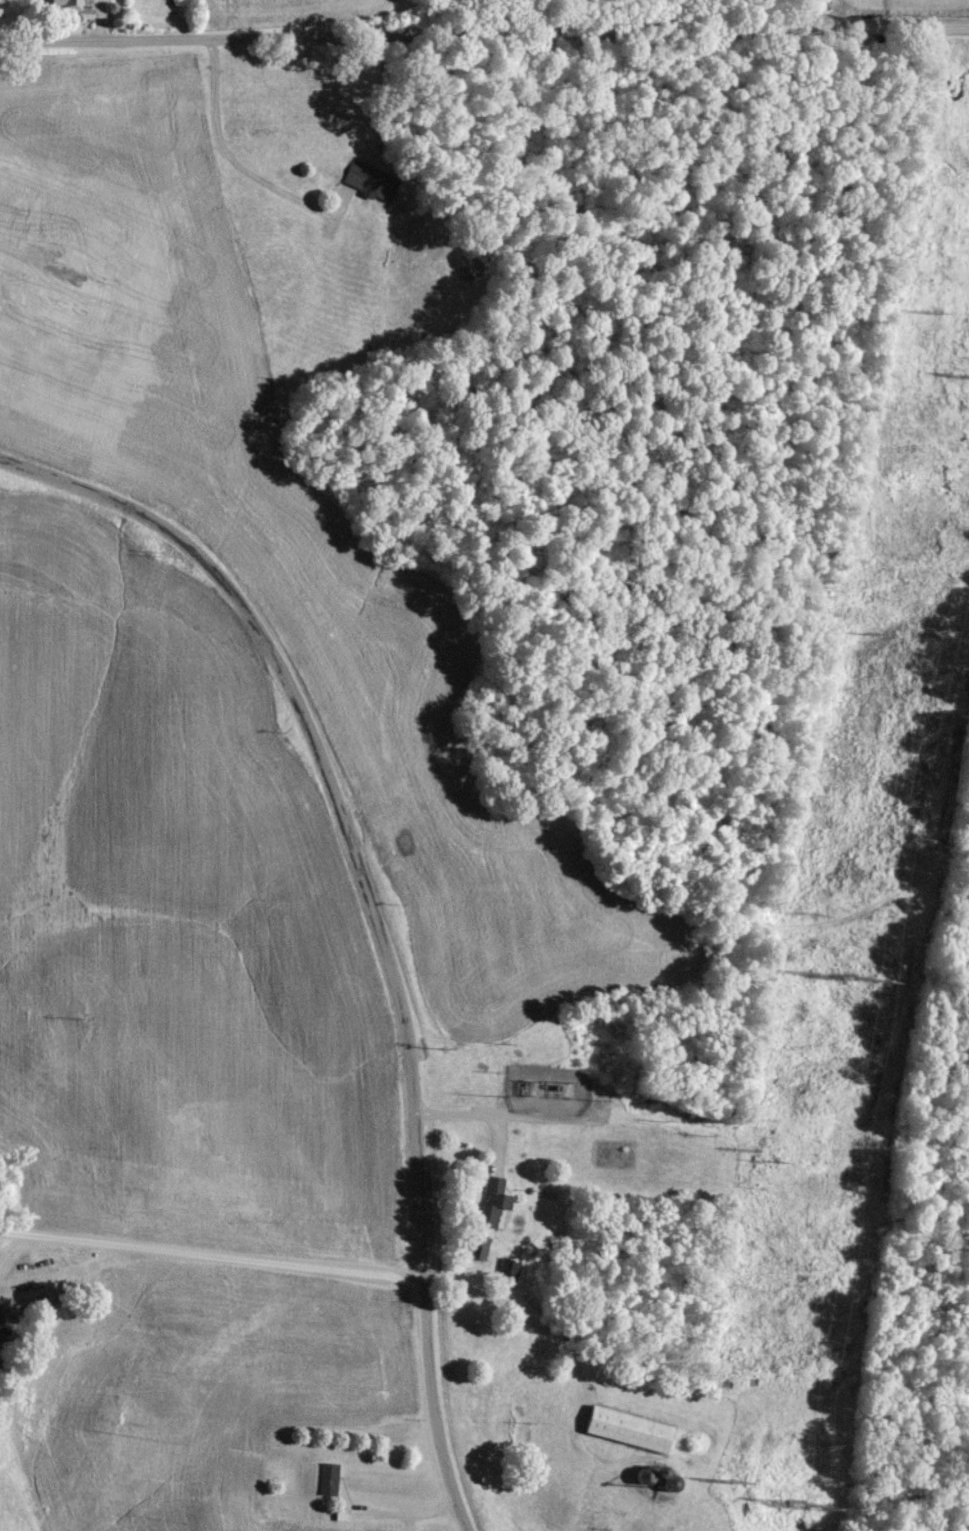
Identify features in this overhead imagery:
building: (66, 7)
road: (484, 38)
road: (228, 158)
building: (363, 184)
road: (379, 914)
power tower: (857, 982)
road: (472, 1116)
building: (488, 1209)
building: (477, 1252)
road: (212, 1255)
road: (519, 1313)
building: (627, 1435)
building: (327, 1484)
power tower: (792, 1507)
building: (341, 1521)

